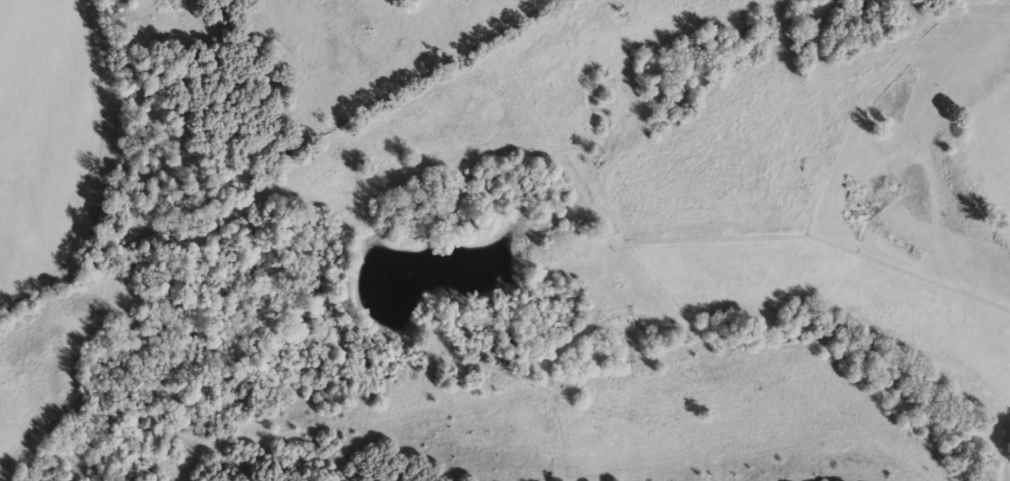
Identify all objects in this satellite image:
road: (819, 234)

